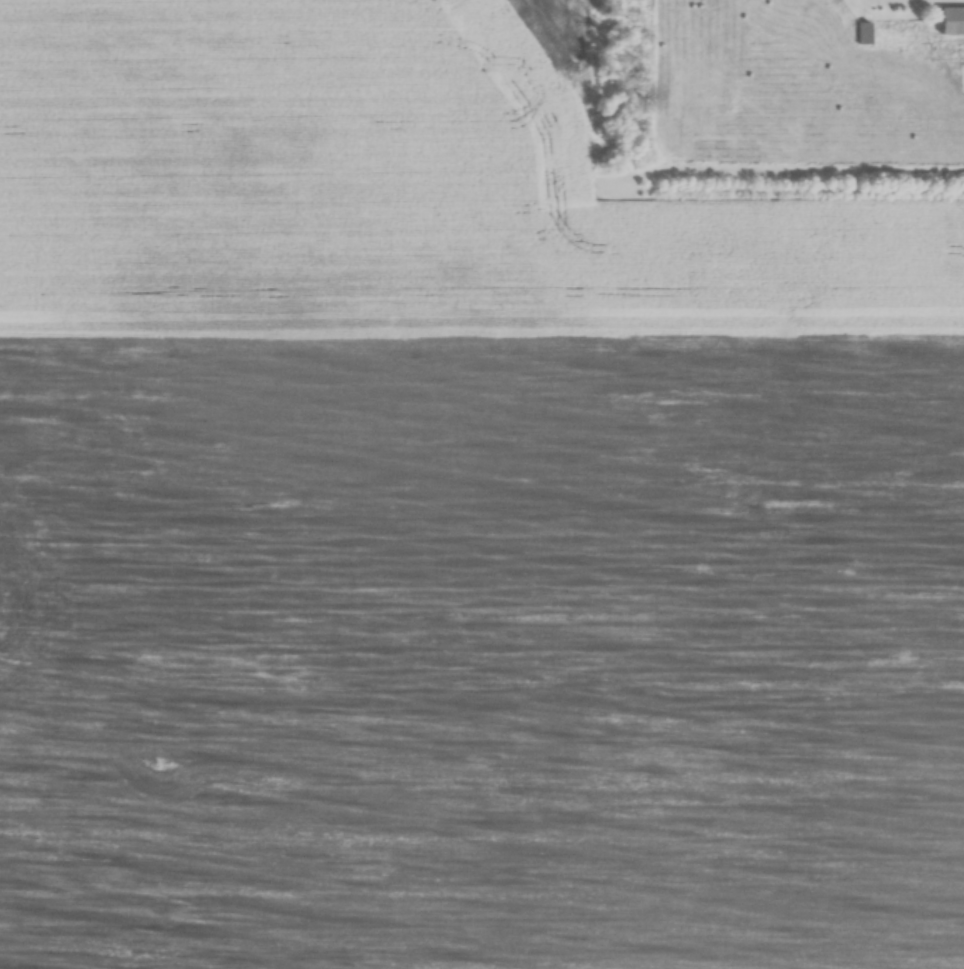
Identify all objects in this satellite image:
building: (952, 21)
building: (862, 34)

